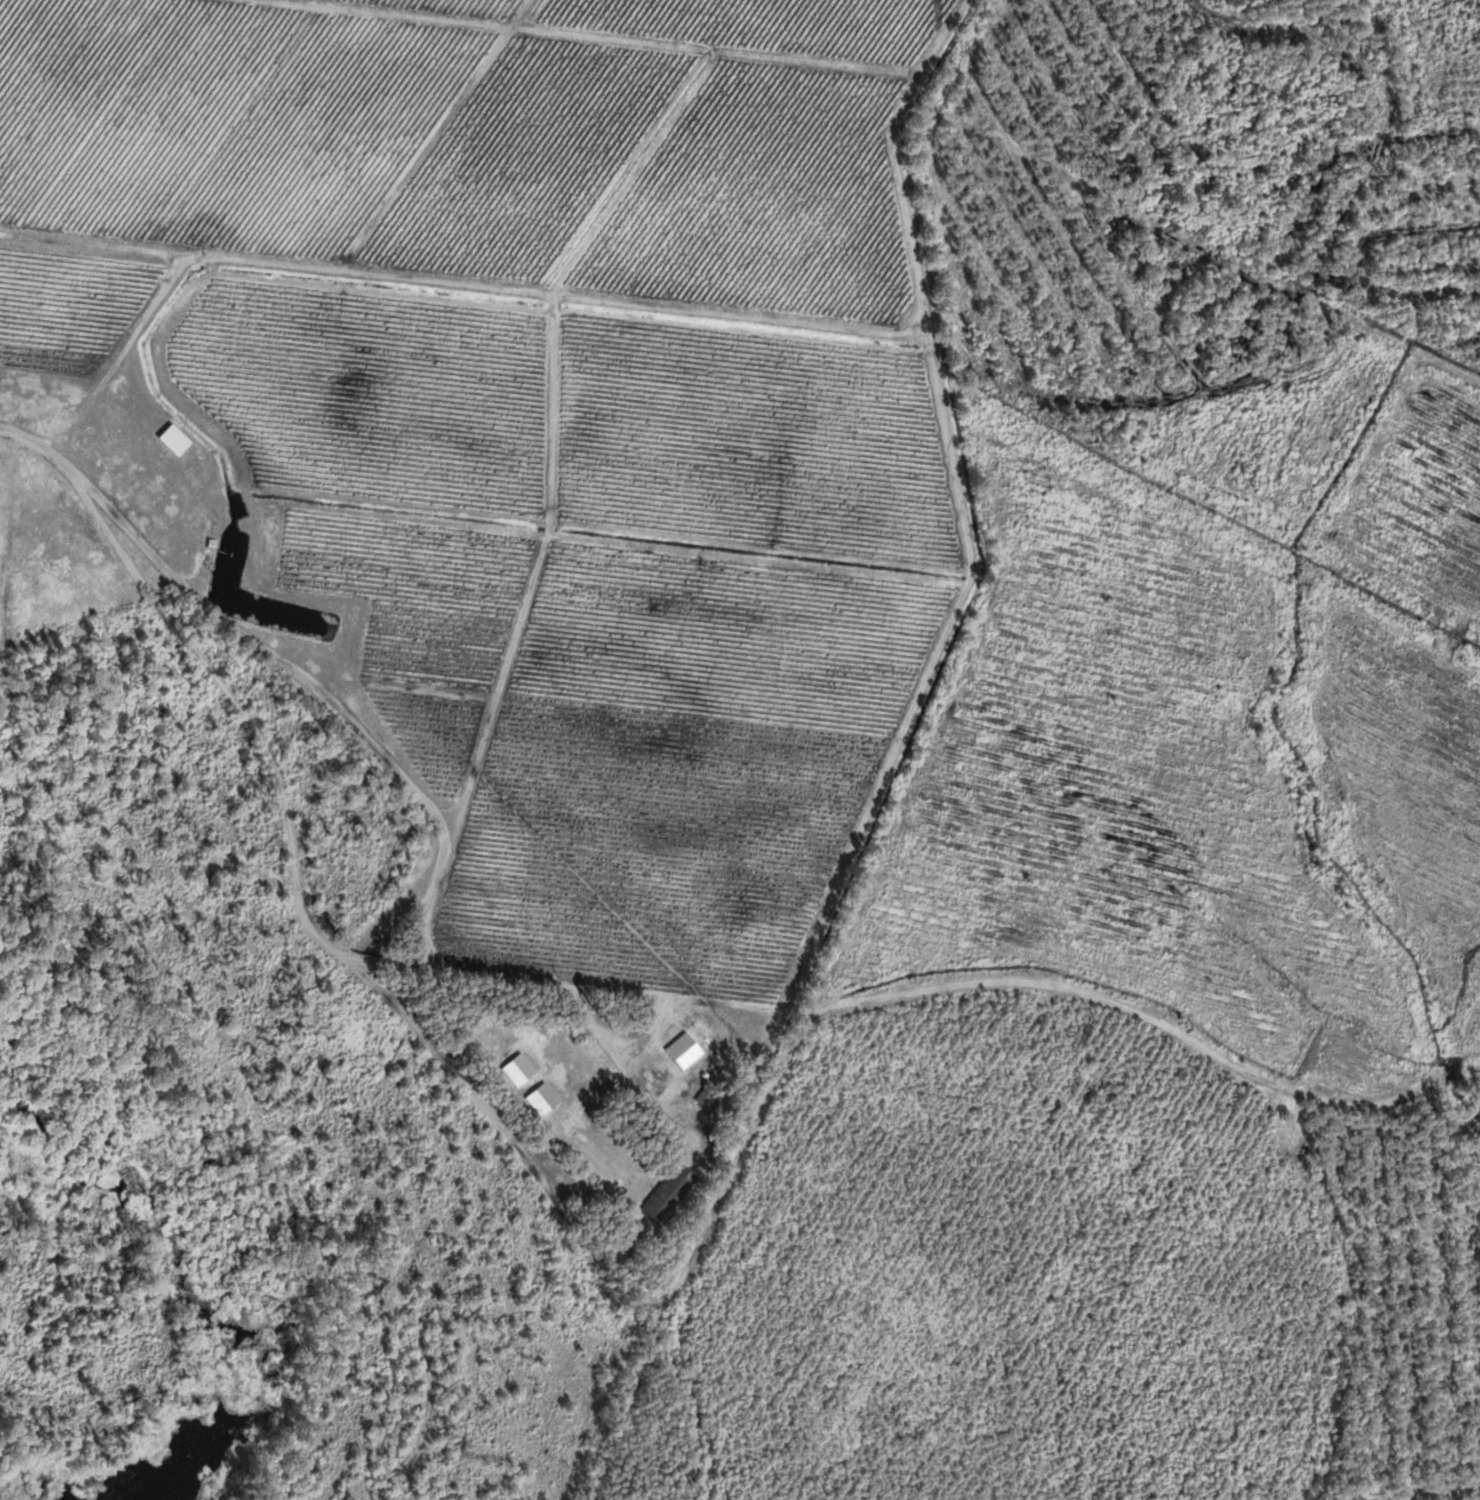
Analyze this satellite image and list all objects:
road: (737, 312)
park: (12, 540)
building: (701, 1098)
building: (664, 1198)

